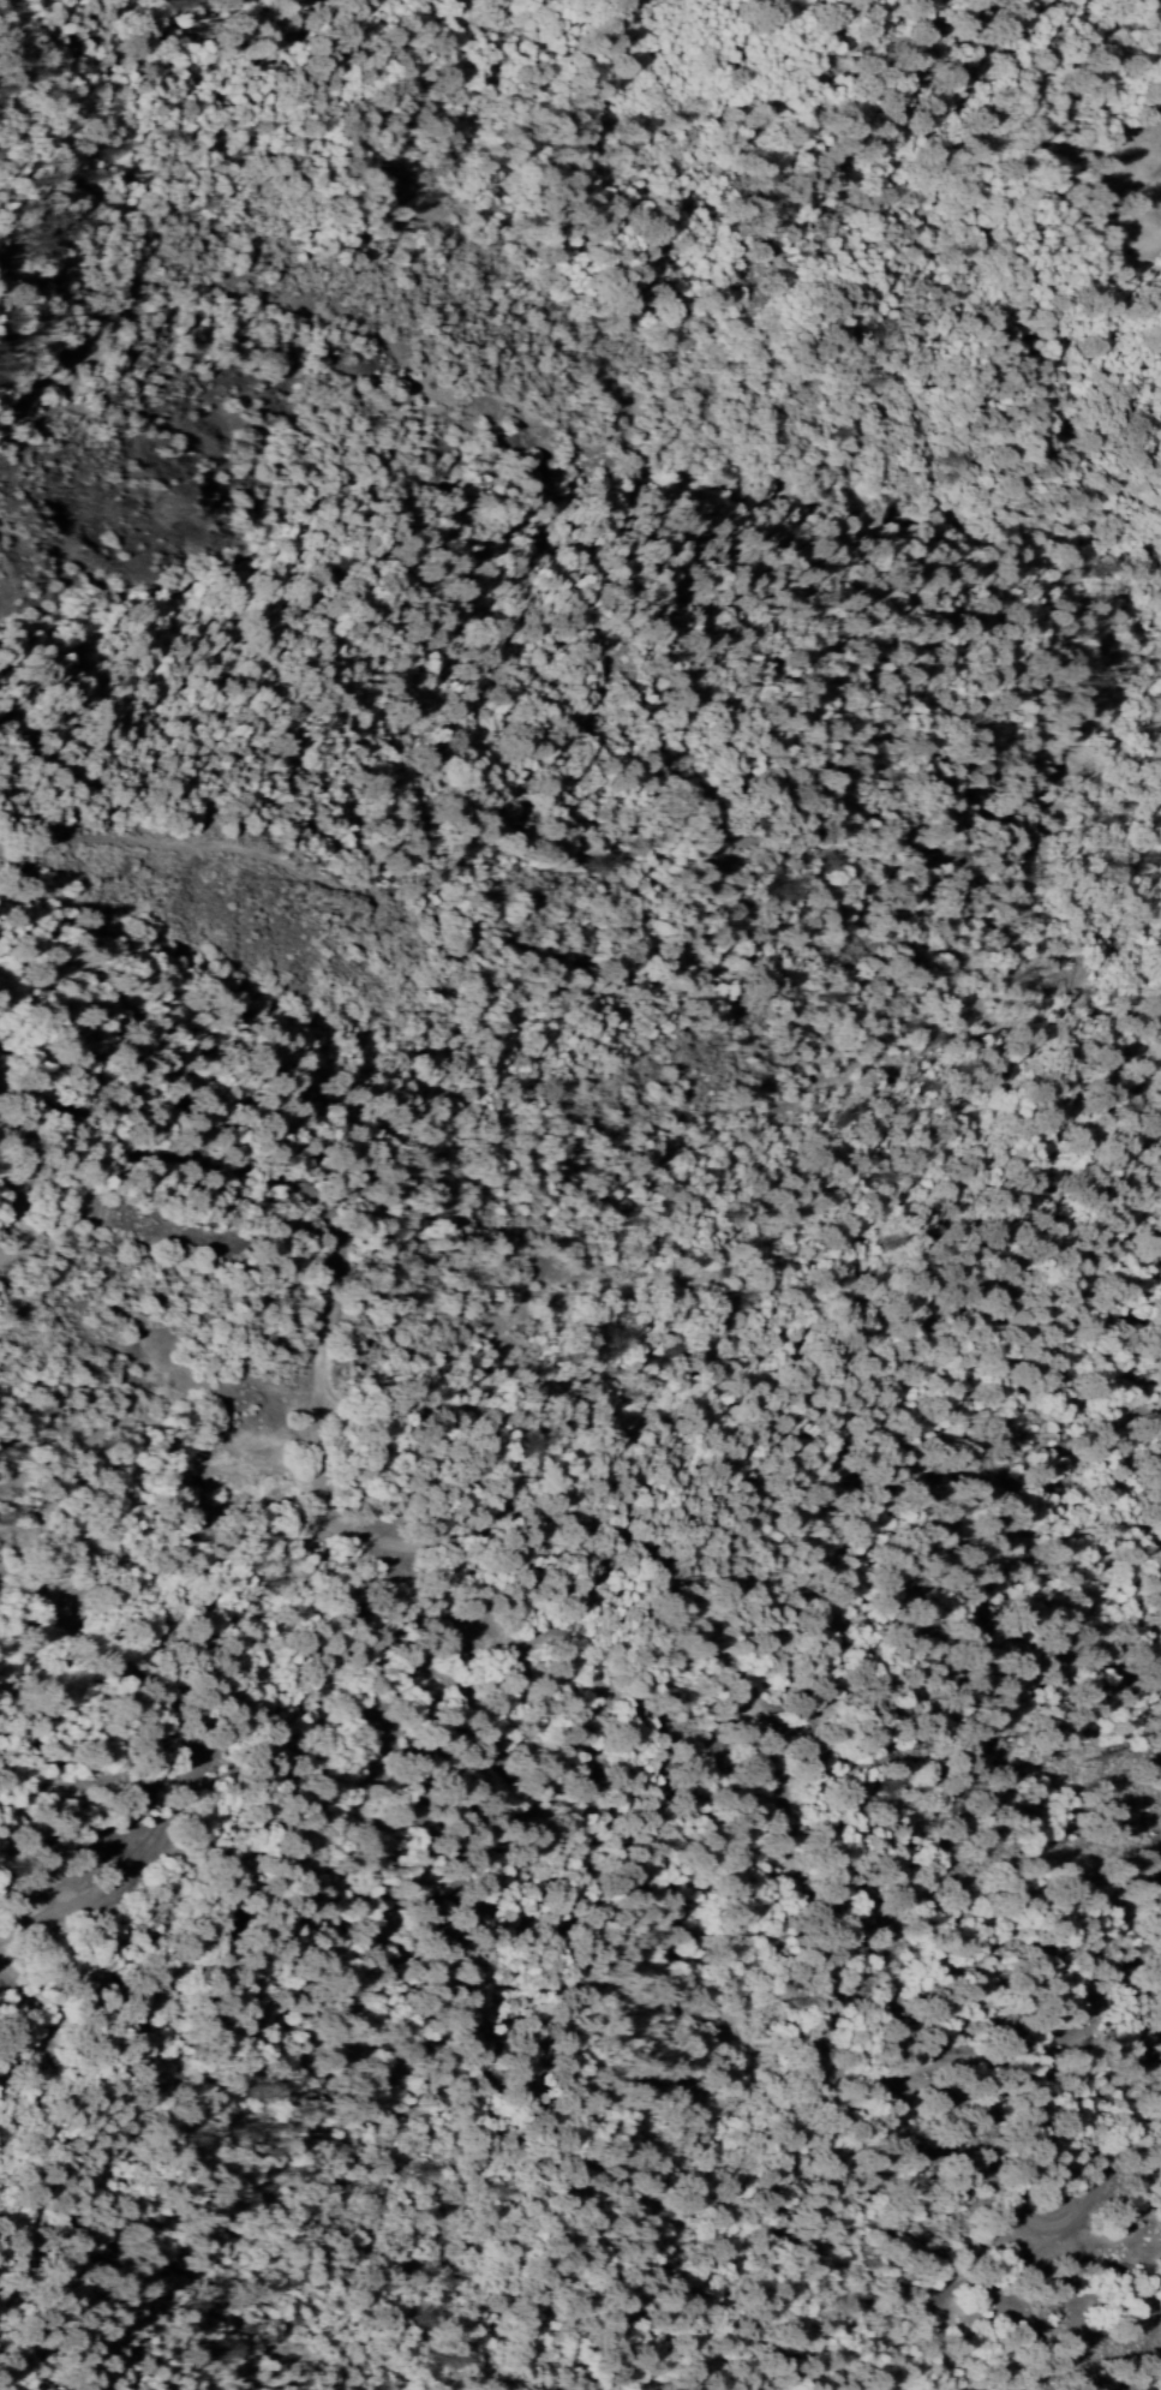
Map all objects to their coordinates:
road: (844, 592)
road: (216, 1141)
road: (606, 1526)
road: (1048, 2251)

